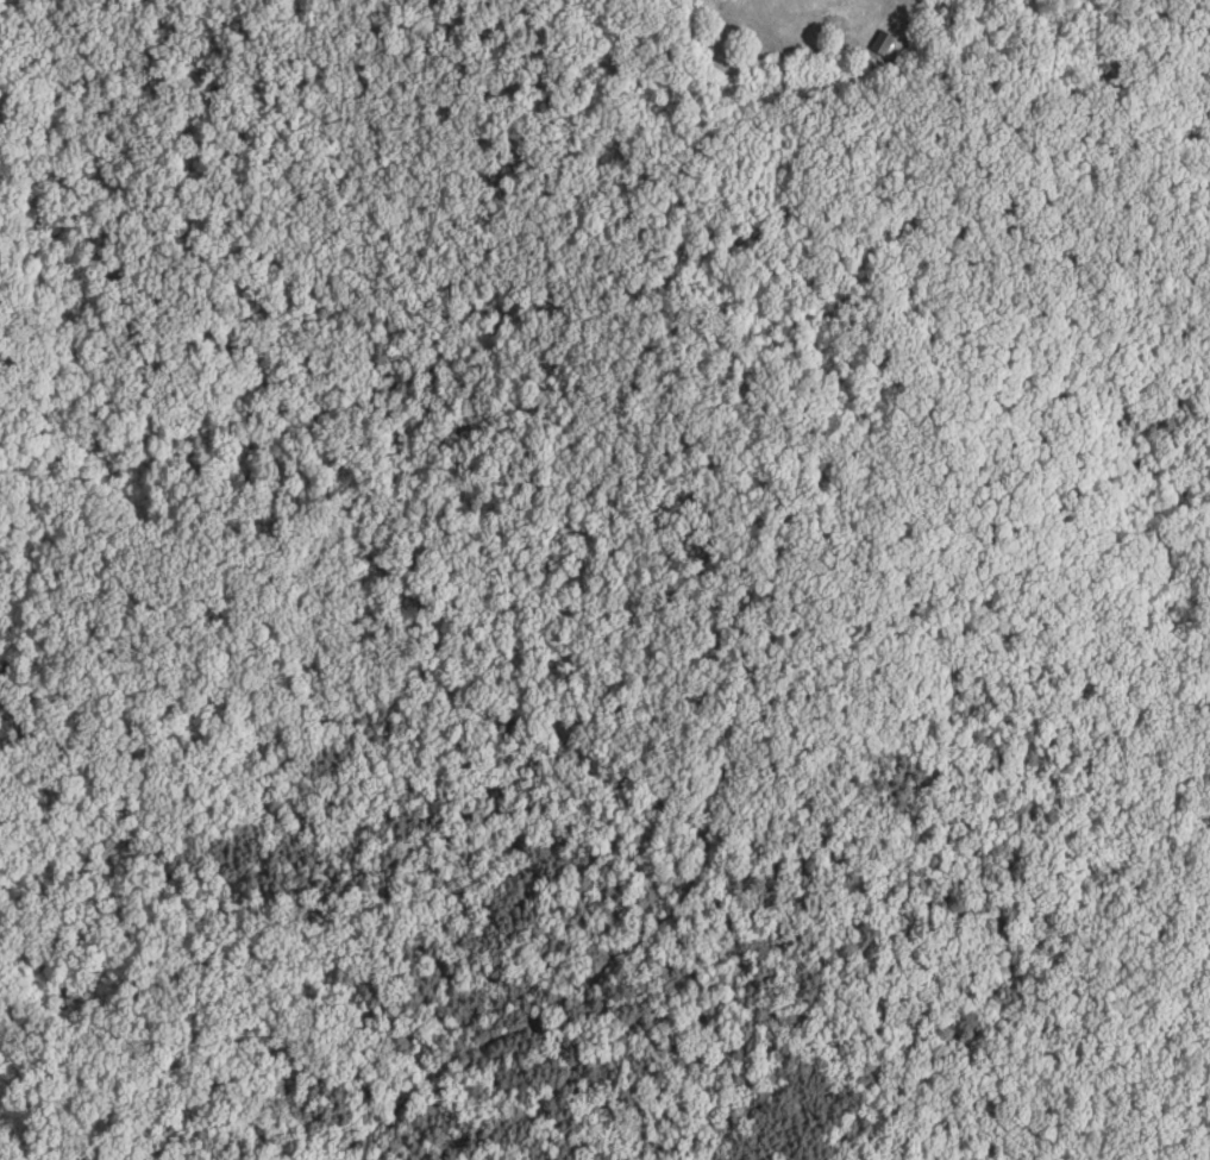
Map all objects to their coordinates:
building: (885, 43)

